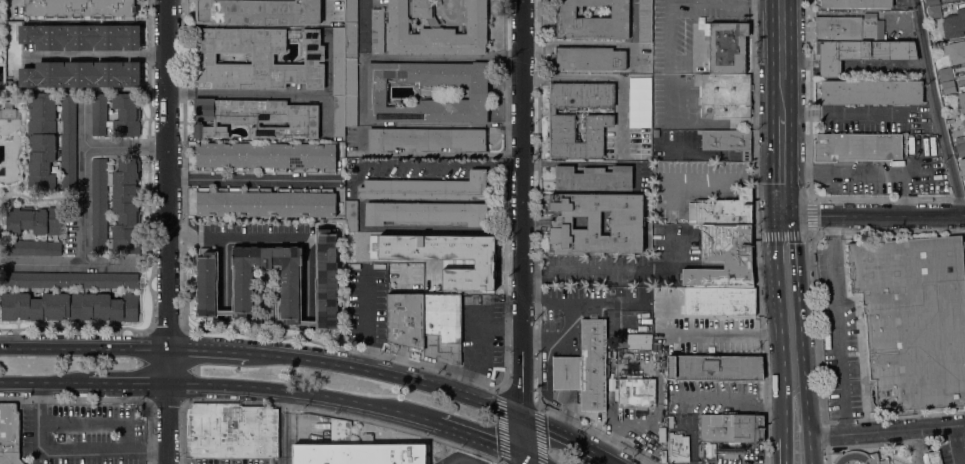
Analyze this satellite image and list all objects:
building: (931, 2)
building: (856, 3)
building: (79, 8)
road: (325, 10)
building: (933, 11)
building: (257, 12)
building: (592, 20)
building: (644, 21)
building: (954, 24)
building: (350, 28)
building: (377, 29)
building: (845, 29)
building: (435, 30)
road: (669, 33)
building: (81, 37)
road: (599, 43)
building: (726, 47)
building: (954, 51)
building: (860, 54)
road: (104, 56)
building: (256, 58)
building: (587, 58)
road: (782, 58)
building: (338, 61)
building: (945, 73)
building: (80, 74)
building: (948, 87)
building: (350, 92)
building: (377, 92)
building: (871, 92)
road: (264, 94)
building: (723, 94)
building: (640, 102)
building: (961, 102)
road: (936, 109)
building: (9, 112)
building: (115, 113)
building: (338, 116)
building: (255, 117)
building: (597, 120)
building: (963, 121)
road: (706, 122)
road: (83, 123)
road: (416, 123)
building: (656, 133)
building: (426, 139)
building: (41, 140)
building: (68, 141)
building: (727, 141)
building: (859, 148)
building: (959, 150)
building: (265, 156)
road: (420, 162)
building: (961, 163)
road: (782, 166)
building: (593, 177)
road: (252, 178)
road: (707, 180)
building: (426, 188)
road: (744, 196)
road: (766, 196)
road: (82, 202)
building: (266, 202)
building: (115, 205)
building: (721, 210)
building: (425, 212)
building: (351, 216)
road: (873, 217)
building: (596, 222)
road: (523, 228)
building: (34, 231)
road: (169, 231)
road: (755, 232)
railway: (783, 232)
road: (233, 237)
building: (442, 256)
building: (723, 257)
road: (769, 263)
road: (107, 264)
road: (737, 264)
road: (538, 266)
road: (622, 269)
building: (69, 279)
road: (787, 280)
building: (207, 289)
building: (719, 301)
building: (69, 306)
road: (363, 315)
building: (405, 319)
building: (912, 319)
road: (836, 324)
building: (442, 327)
road: (714, 333)
road: (477, 339)
road: (84, 348)
road: (208, 350)
building: (584, 367)
building: (716, 367)
road: (387, 374)
road: (789, 379)
road: (44, 383)
road: (129, 383)
building: (611, 384)
road: (299, 392)
building: (635, 392)
building: (611, 397)
road: (519, 398)
road: (39, 402)
road: (809, 403)
road: (538, 405)
building: (640, 412)
road: (96, 422)
road: (283, 427)
road: (505, 427)
building: (730, 427)
road: (888, 429)
building: (231, 430)
building: (9, 434)
building: (661, 434)
road: (537, 435)
road: (475, 437)
road: (776, 437)
road: (572, 438)
road: (692, 438)
road: (785, 438)
road: (957, 444)
building: (678, 448)
building: (356, 450)
building: (700, 450)
road: (91, 451)
building: (731, 451)
building: (663, 456)
building: (932, 457)
road: (824, 458)
building: (858, 458)
road: (523, 460)
road: (531, 460)
road: (461, 461)

